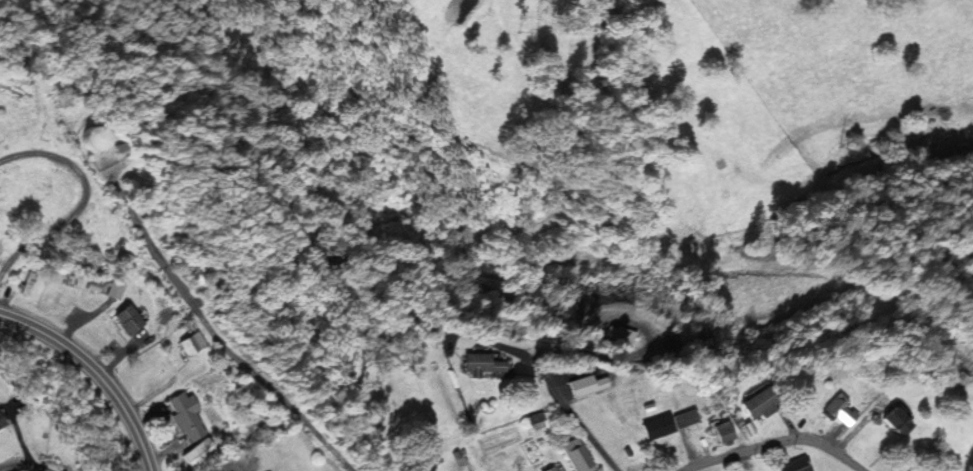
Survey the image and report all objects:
building: (93, 136)
road: (79, 200)
building: (194, 277)
building: (114, 288)
building: (126, 319)
road: (213, 339)
building: (190, 343)
building: (483, 363)
road: (94, 376)
building: (959, 378)
road: (548, 382)
building: (586, 384)
building: (759, 401)
building: (840, 410)
building: (187, 414)
building: (685, 417)
building: (896, 418)
building: (1, 421)
building: (537, 421)
building: (657, 426)
building: (722, 431)
road: (772, 443)
building: (199, 452)
building: (578, 455)
building: (795, 464)
road: (25, 467)
building: (552, 469)
road: (235, 470)

